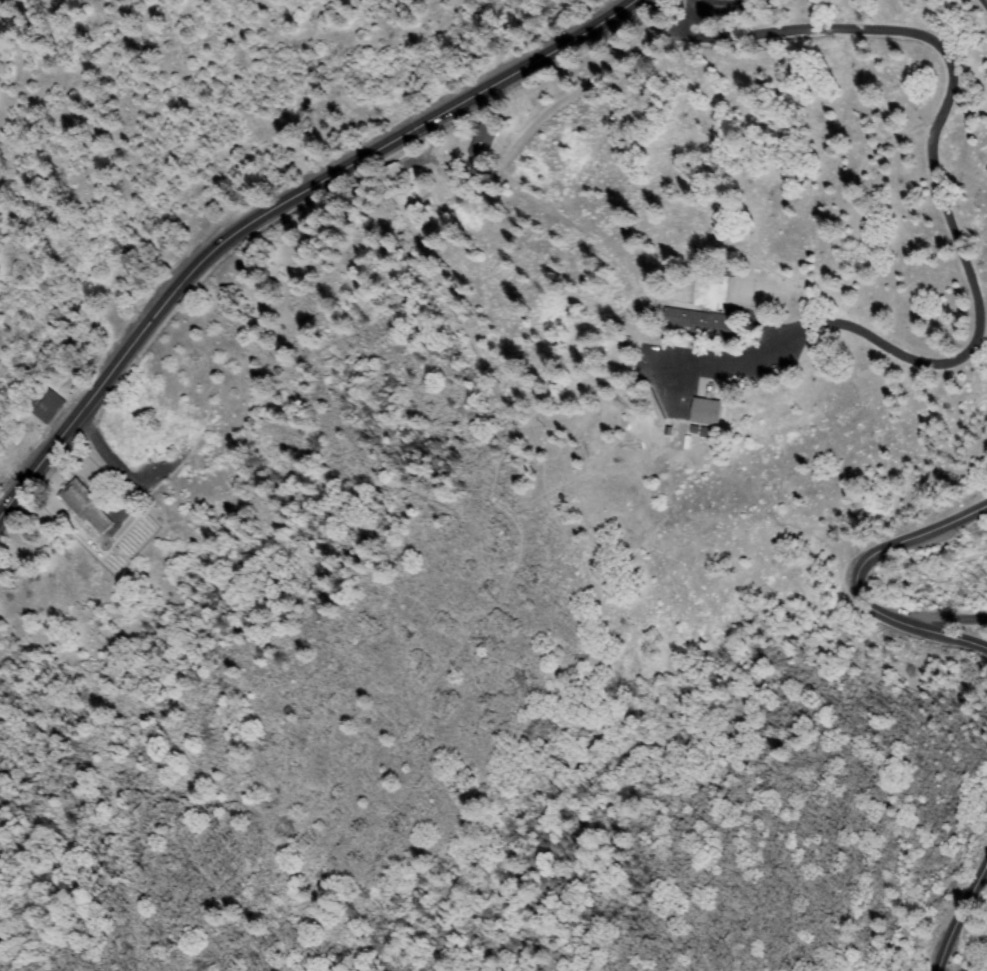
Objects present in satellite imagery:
road: (725, 7)
road: (981, 8)
building: (484, 140)
building: (396, 176)
road: (276, 207)
road: (951, 247)
building: (703, 324)
building: (48, 405)
building: (709, 409)
building: (88, 508)
road: (856, 584)
road: (978, 629)
road: (959, 915)

